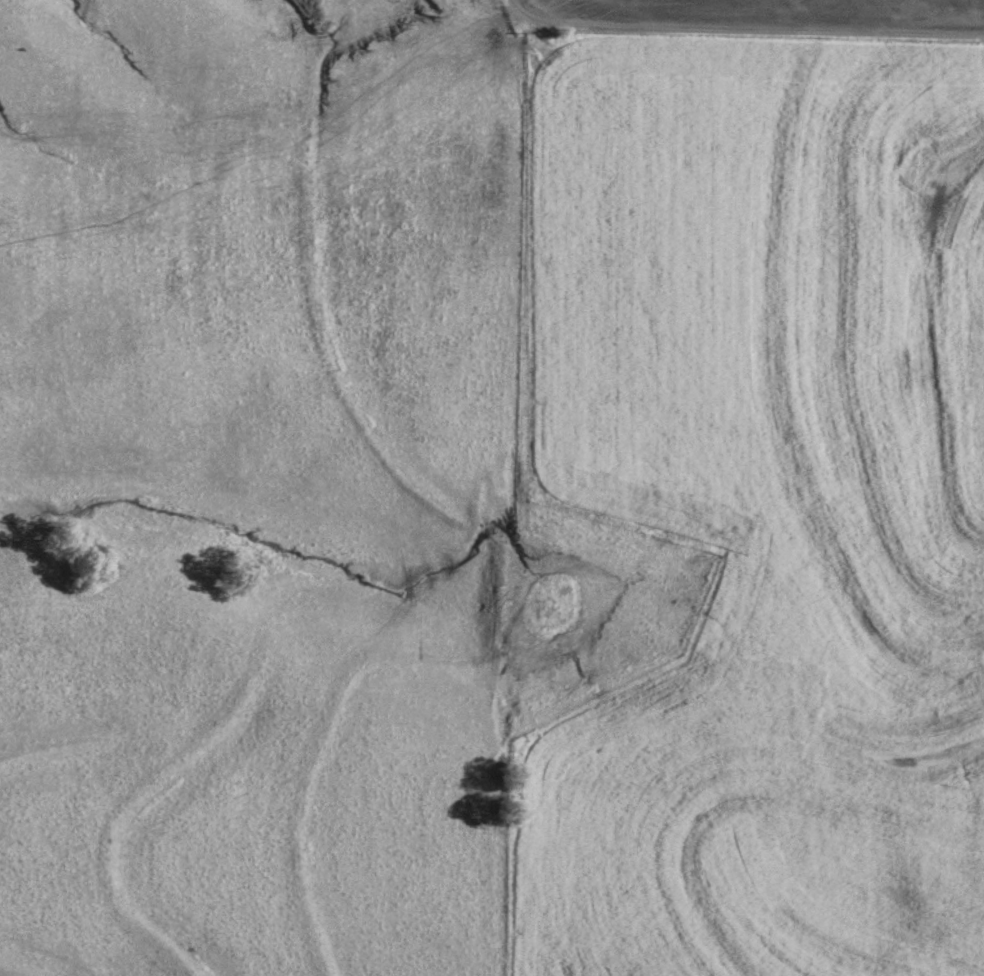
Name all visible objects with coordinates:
road: (745, 28)

